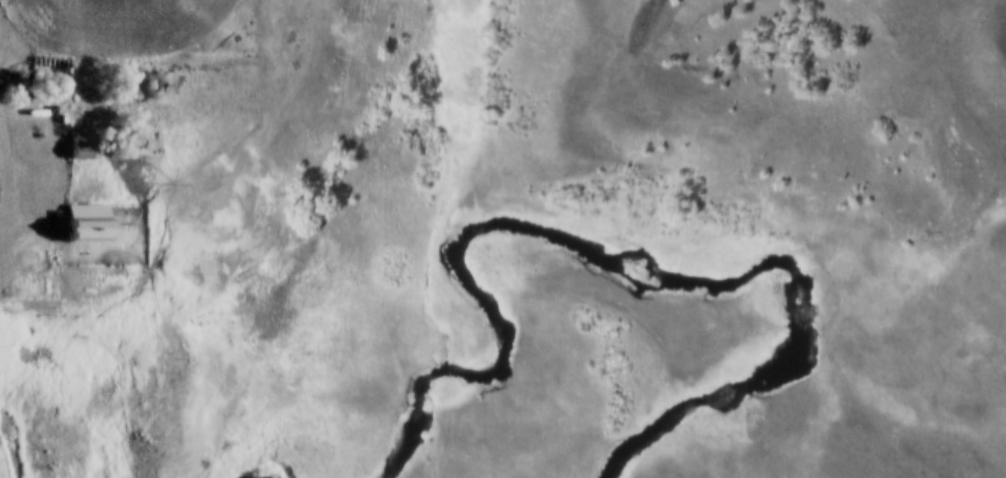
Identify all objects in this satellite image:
building: (136, 144)
building: (84, 149)
road: (11, 164)
building: (83, 224)

